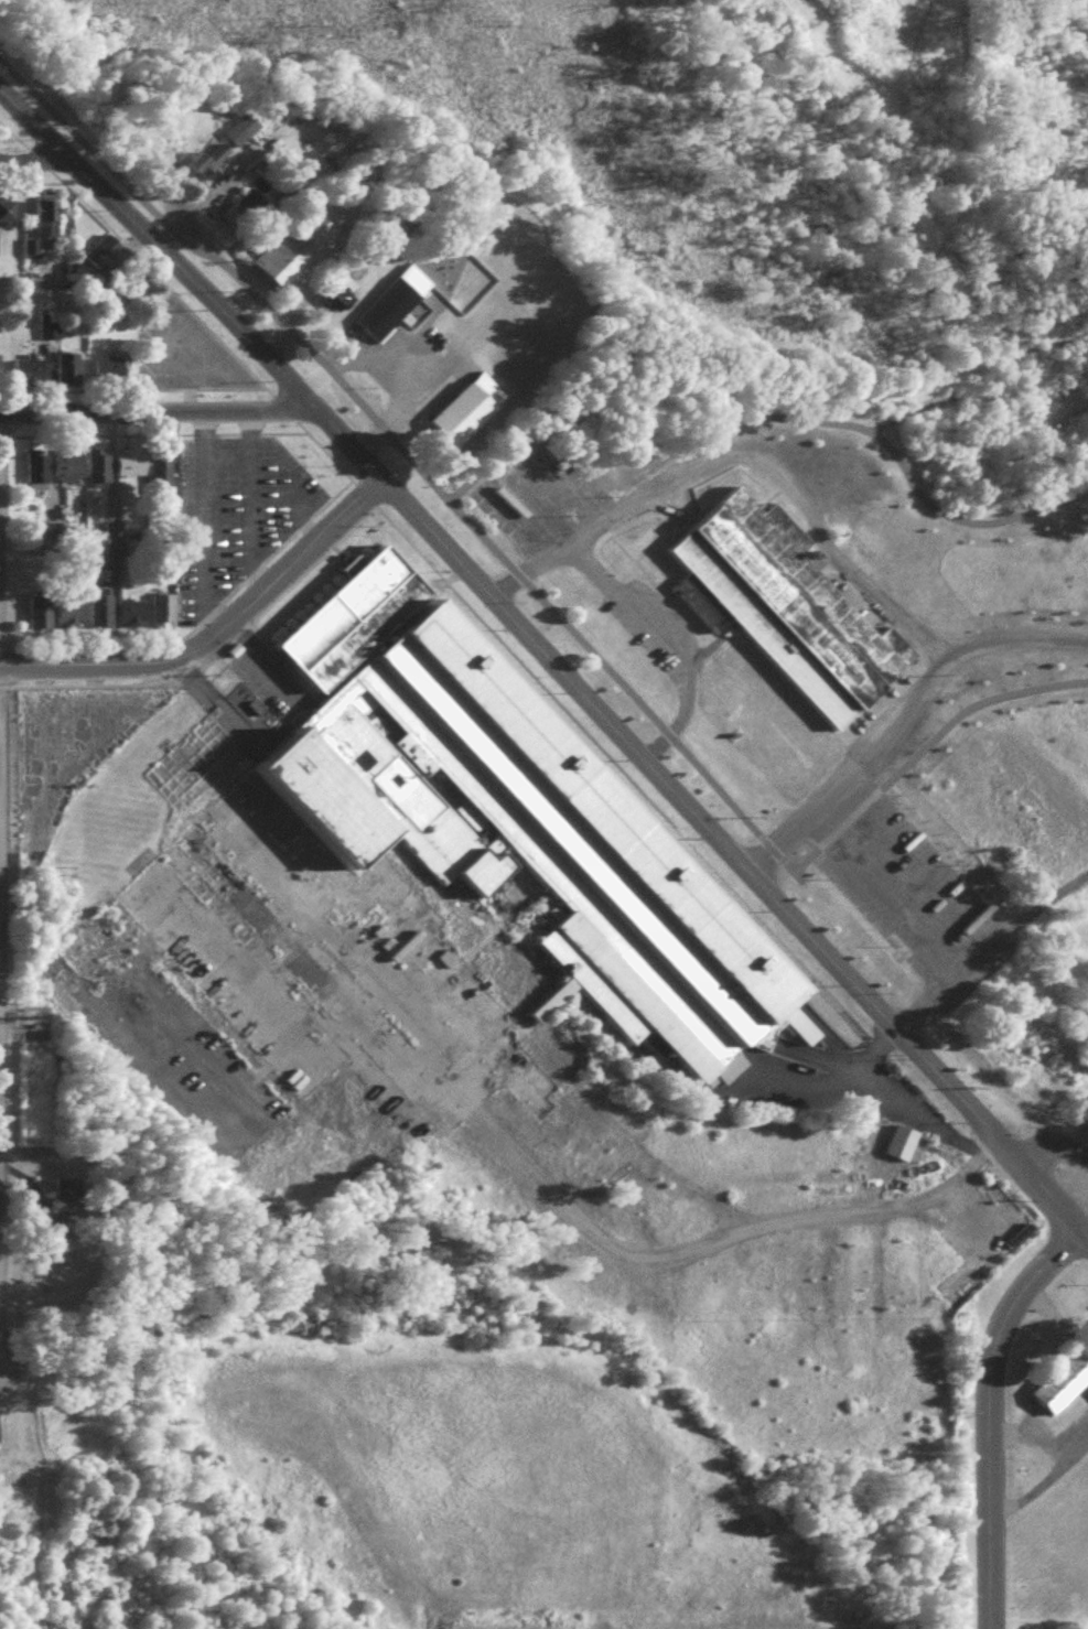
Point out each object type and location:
building: (237, 127)
building: (244, 134)
building: (206, 158)
road: (33, 160)
building: (8, 217)
building: (47, 223)
building: (293, 245)
building: (107, 258)
building: (390, 301)
building: (47, 337)
building: (0, 373)
building: (69, 373)
building: (110, 374)
building: (30, 375)
road: (973, 387)
road: (392, 408)
building: (462, 408)
road: (158, 413)
road: (756, 417)
road: (401, 456)
road: (674, 456)
building: (69, 471)
building: (132, 471)
building: (100, 473)
building: (40, 479)
building: (163, 479)
road: (246, 505)
road: (301, 522)
road: (201, 525)
building: (44, 540)
building: (115, 542)
road: (830, 555)
building: (782, 607)
building: (104, 611)
building: (165, 615)
building: (136, 618)
building: (72, 619)
building: (42, 621)
road: (214, 633)
road: (1009, 638)
road: (665, 643)
road: (548, 664)
road: (922, 749)
building: (511, 810)
road: (891, 929)
building: (1022, 1038)
road: (855, 1066)
road: (859, 1086)
road: (936, 1129)
road: (1053, 1153)
building: (69, 1202)
road: (705, 1245)
building: (1056, 1391)
road: (991, 1416)
road: (1035, 1436)
road: (1042, 1489)

